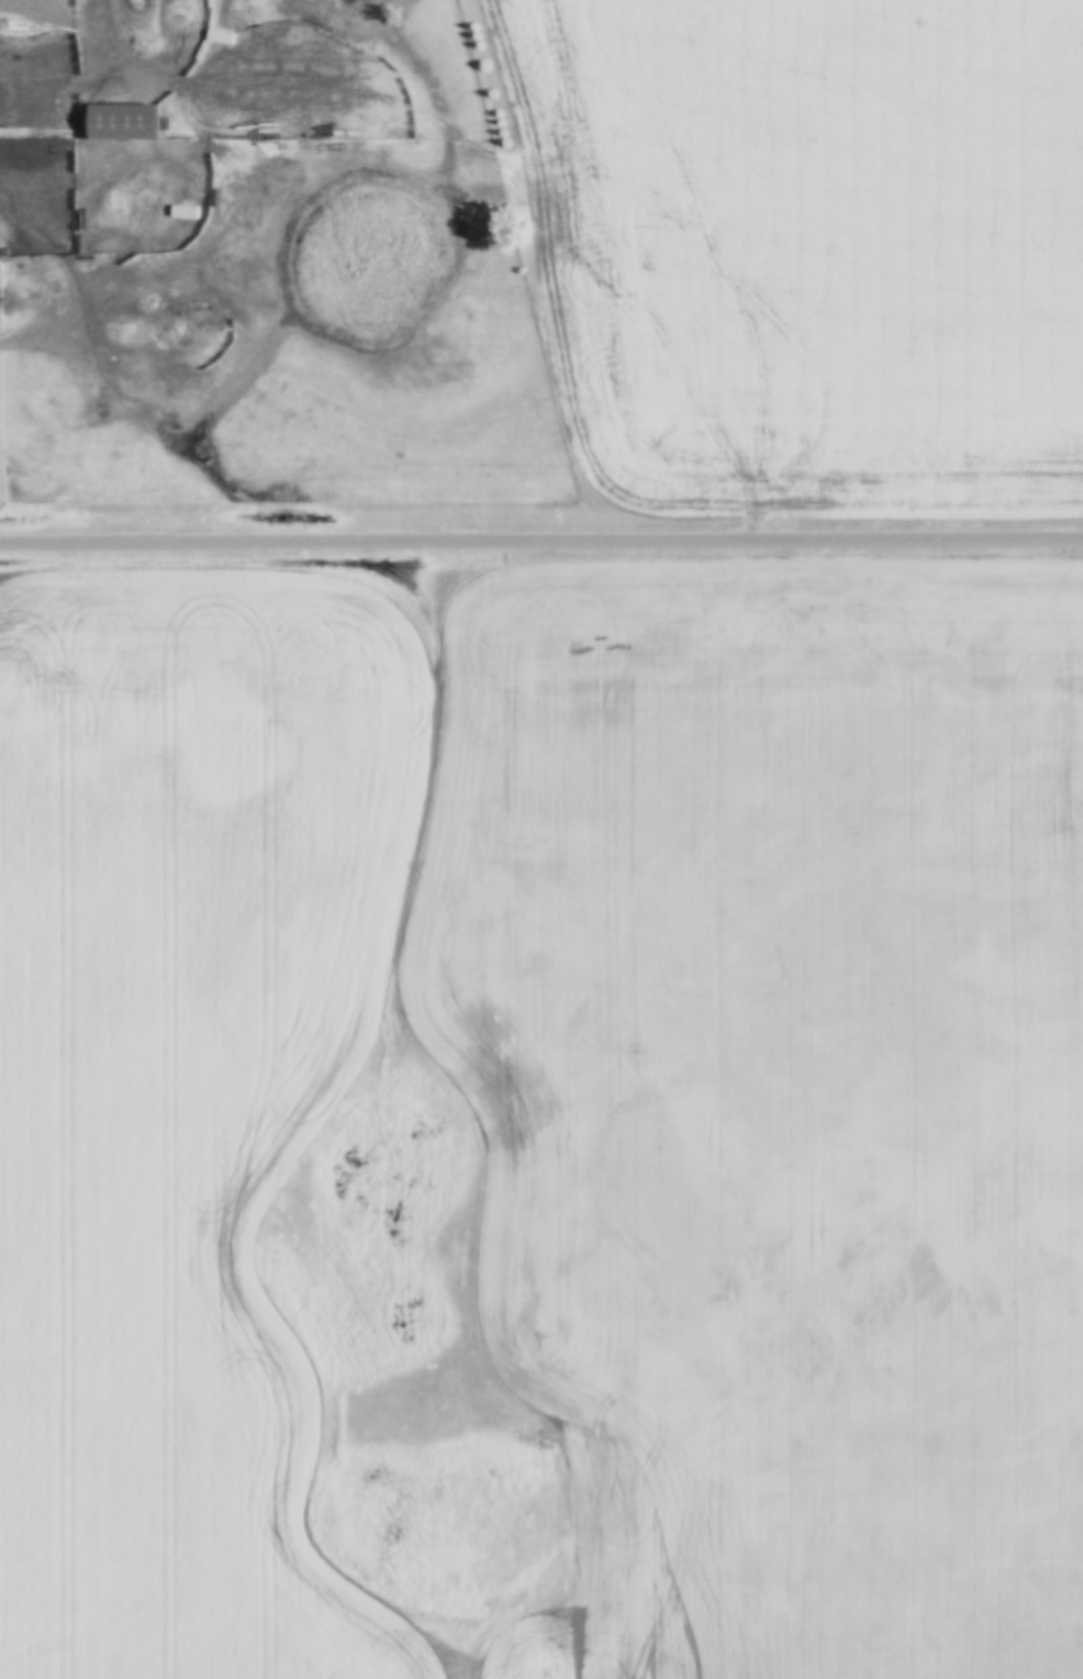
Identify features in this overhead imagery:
building: (122, 125)
road: (541, 537)

